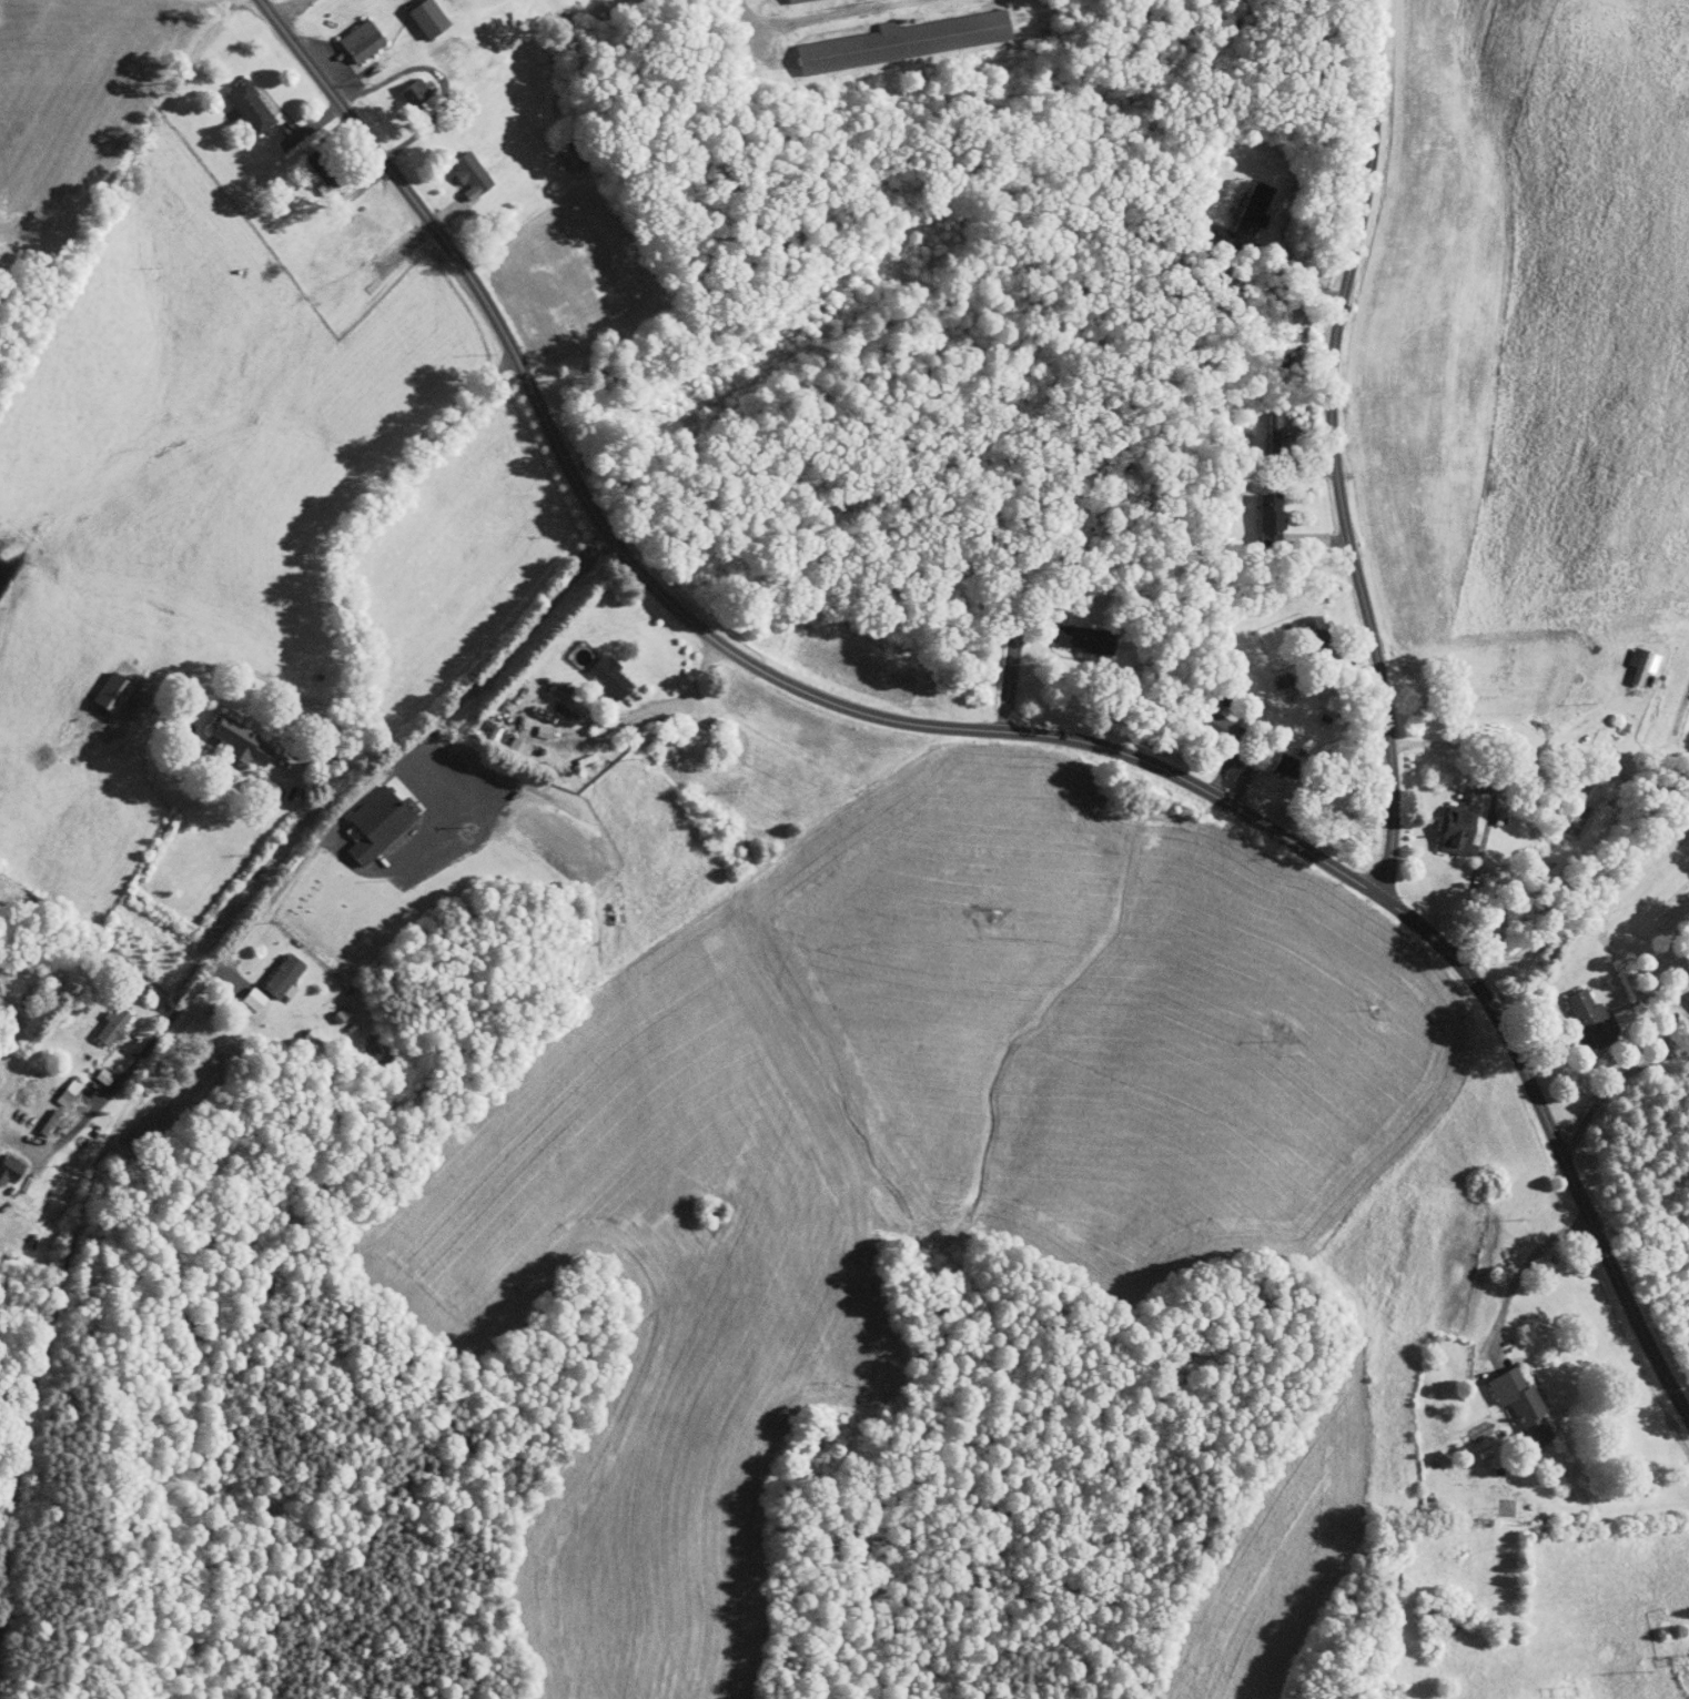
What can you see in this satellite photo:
road: (286, 7)
building: (412, 13)
road: (756, 21)
building: (345, 34)
building: (889, 34)
building: (400, 88)
building: (234, 100)
building: (455, 169)
building: (1238, 202)
building: (1199, 223)
building: (1261, 418)
road: (1333, 451)
building: (1255, 509)
road: (362, 514)
building: (1301, 625)
building: (1069, 633)
building: (1628, 658)
building: (594, 670)
building: (97, 687)
building: (552, 695)
road: (639, 700)
building: (1203, 720)
building: (477, 724)
building: (529, 725)
road: (970, 730)
building: (225, 735)
building: (502, 740)
road: (1497, 747)
building: (249, 782)
building: (361, 818)
building: (1454, 829)
building: (267, 968)
building: (1688, 994)
road: (184, 1017)
building: (97, 1018)
building: (1587, 1018)
road: (1611, 1083)
building: (53, 1084)
road: (1515, 1271)
building: (1520, 1403)
building: (1388, 1580)
building: (1439, 1610)
power tower: (1642, 1670)
power tower: (1570, 1689)

